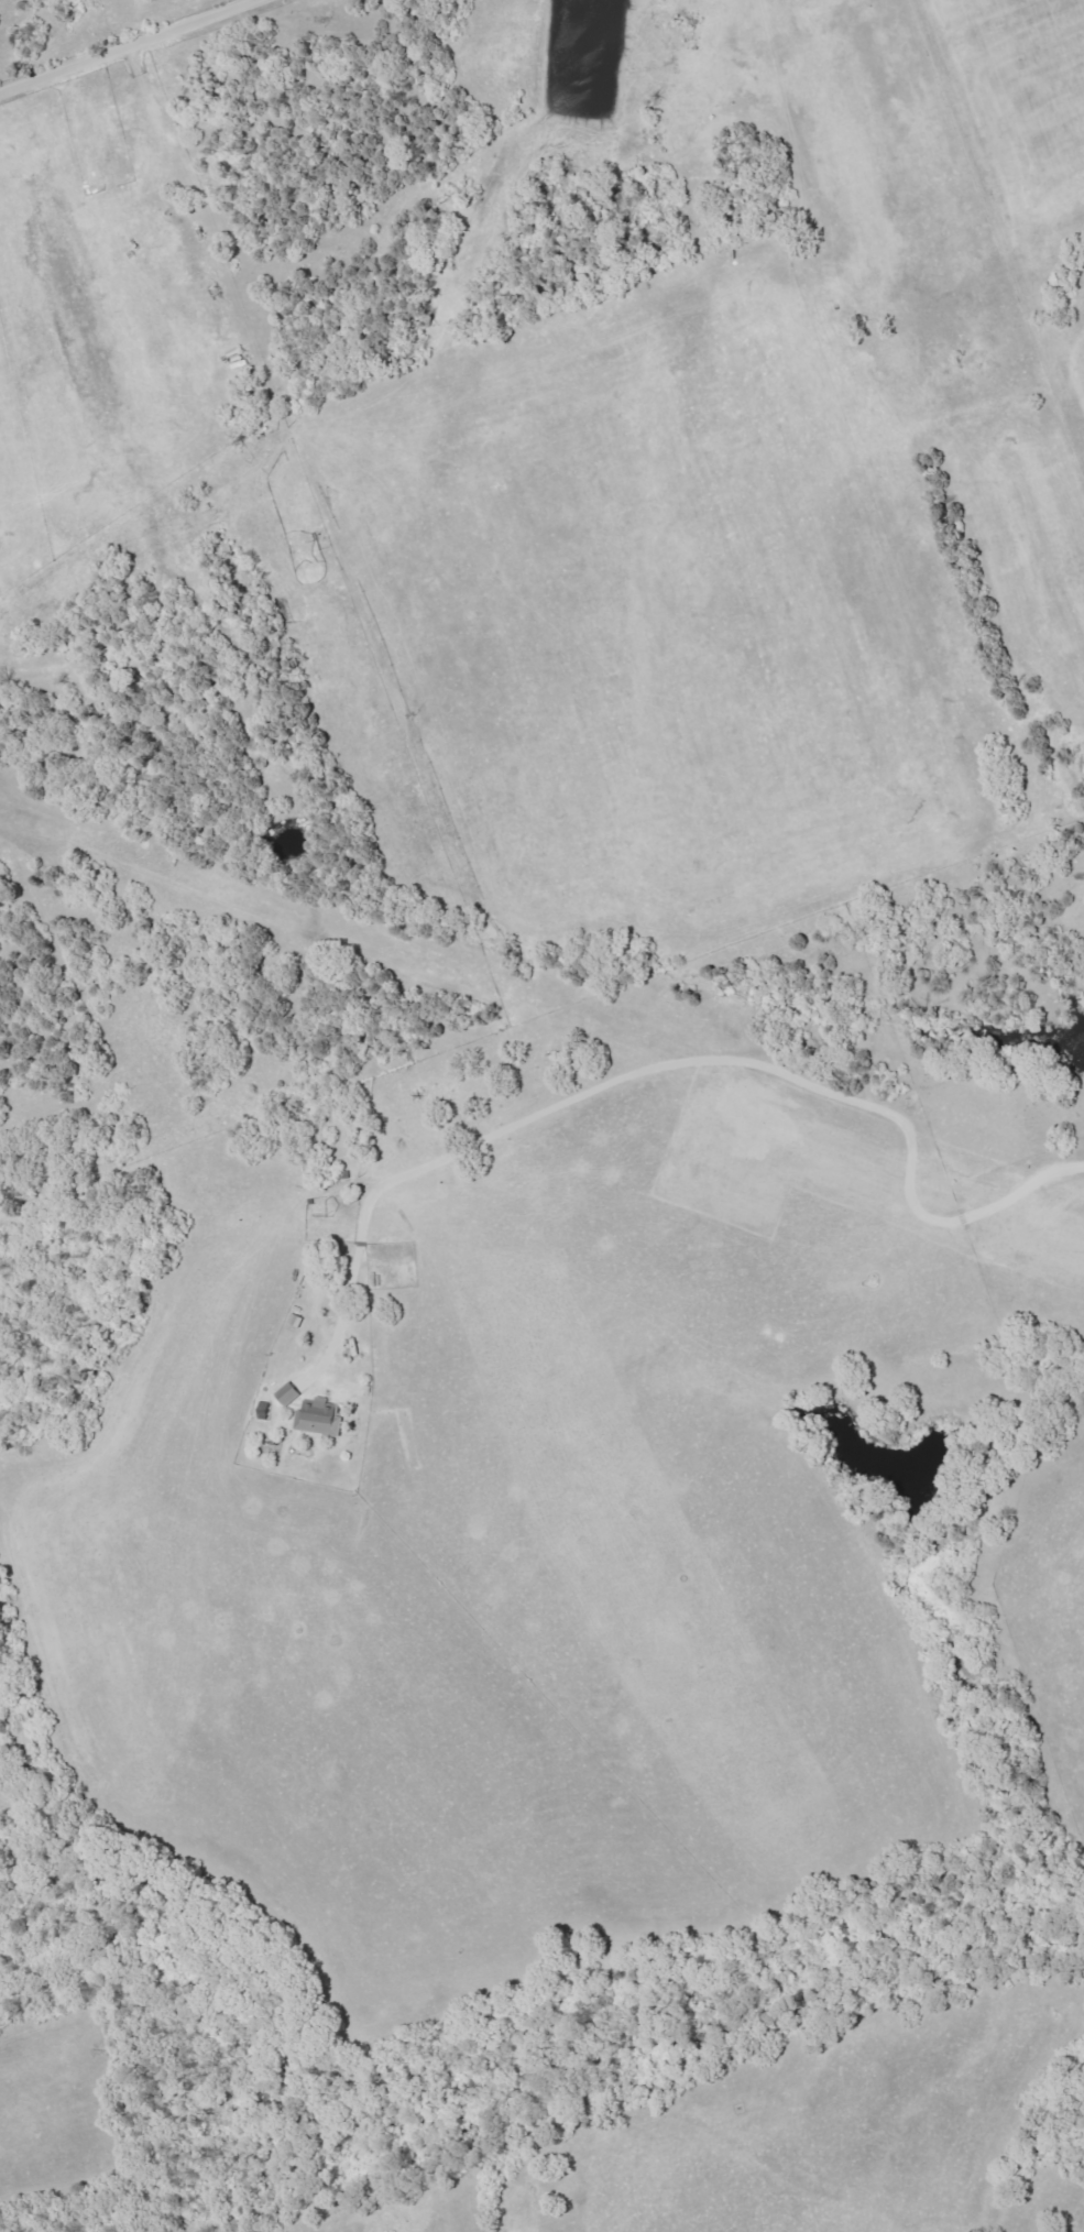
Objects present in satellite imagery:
road: (124, 46)
road: (637, 1073)
building: (289, 1394)
building: (320, 1416)

